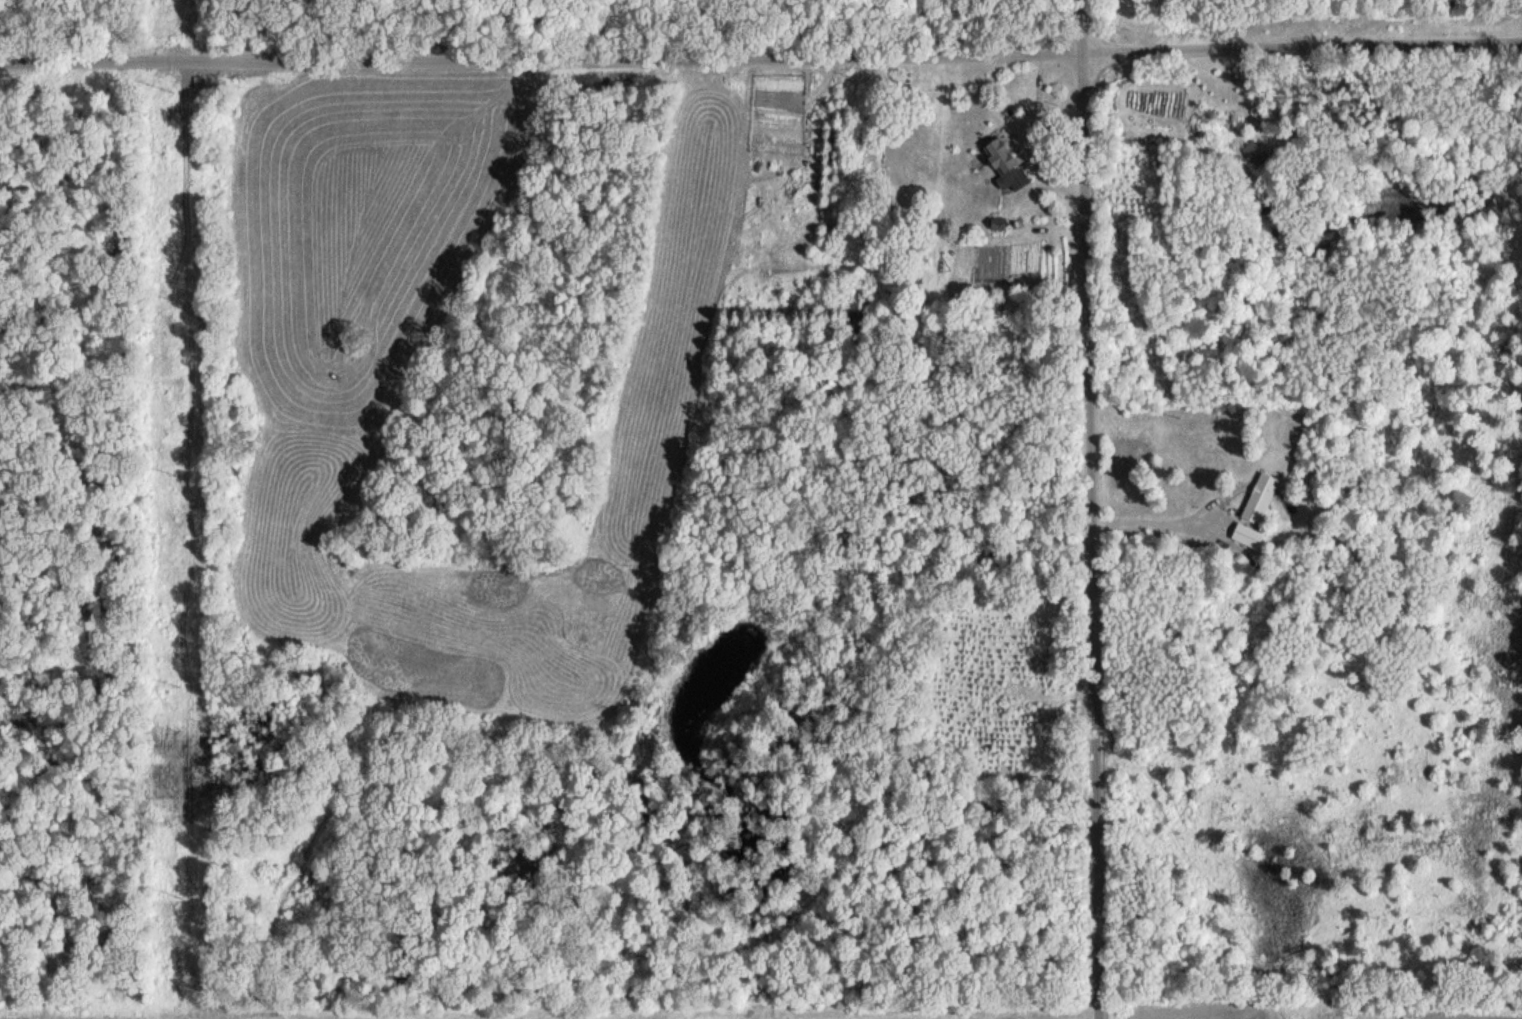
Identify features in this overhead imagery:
road: (761, 46)
building: (1253, 152)
building: (1005, 164)
building: (857, 303)
building: (1259, 496)
road: (1085, 509)
road: (1153, 523)

